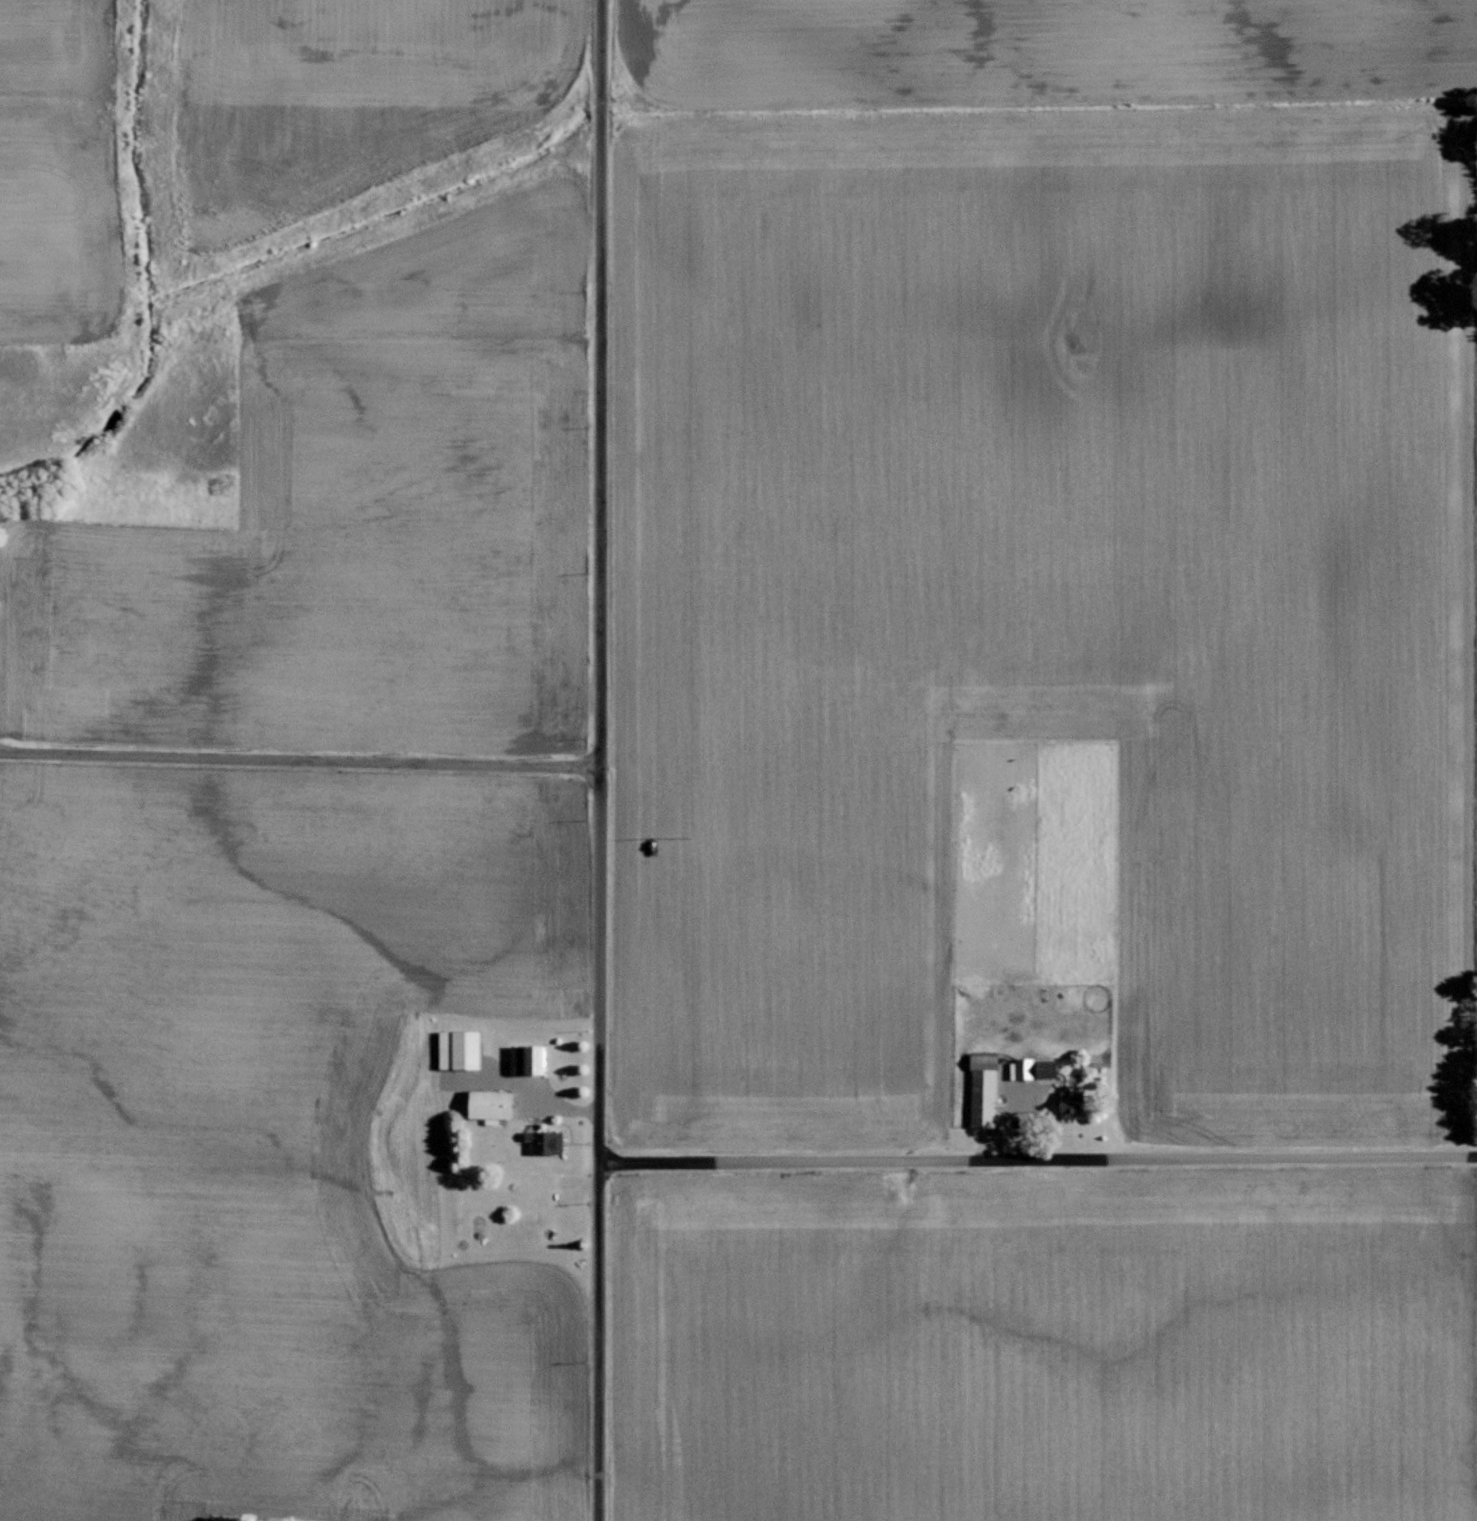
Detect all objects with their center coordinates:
road: (299, 755)
road: (599, 760)
building: (463, 1050)
building: (530, 1060)
building: (1027, 1068)
building: (1051, 1069)
building: (987, 1091)
building: (494, 1105)
building: (1076, 1105)
building: (548, 1142)
road: (1037, 1154)

